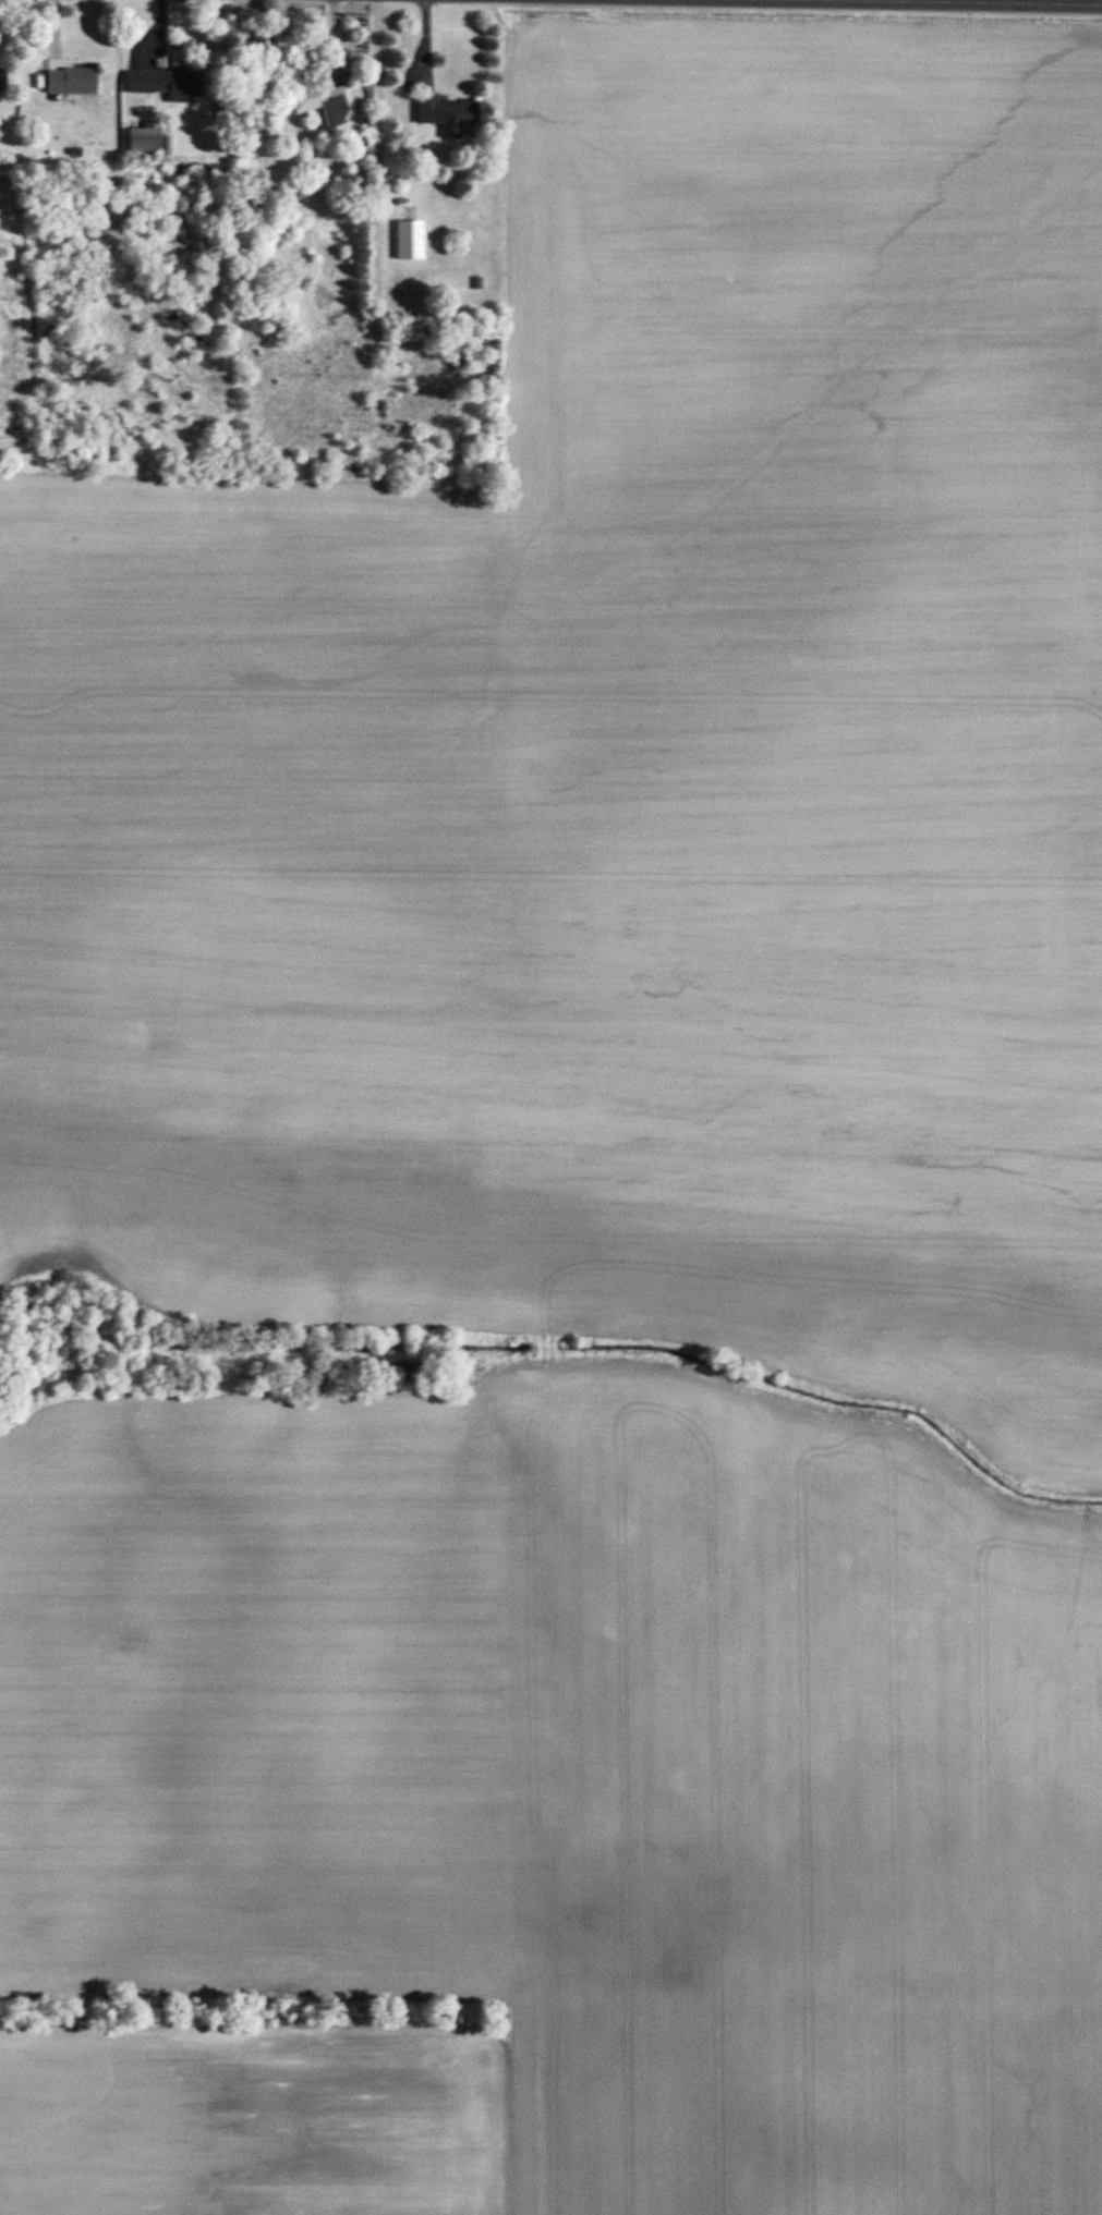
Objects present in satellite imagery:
road: (1032, 1)
building: (2, 81)
building: (71, 82)
building: (164, 83)
building: (327, 104)
building: (447, 115)
building: (144, 141)
building: (410, 241)

